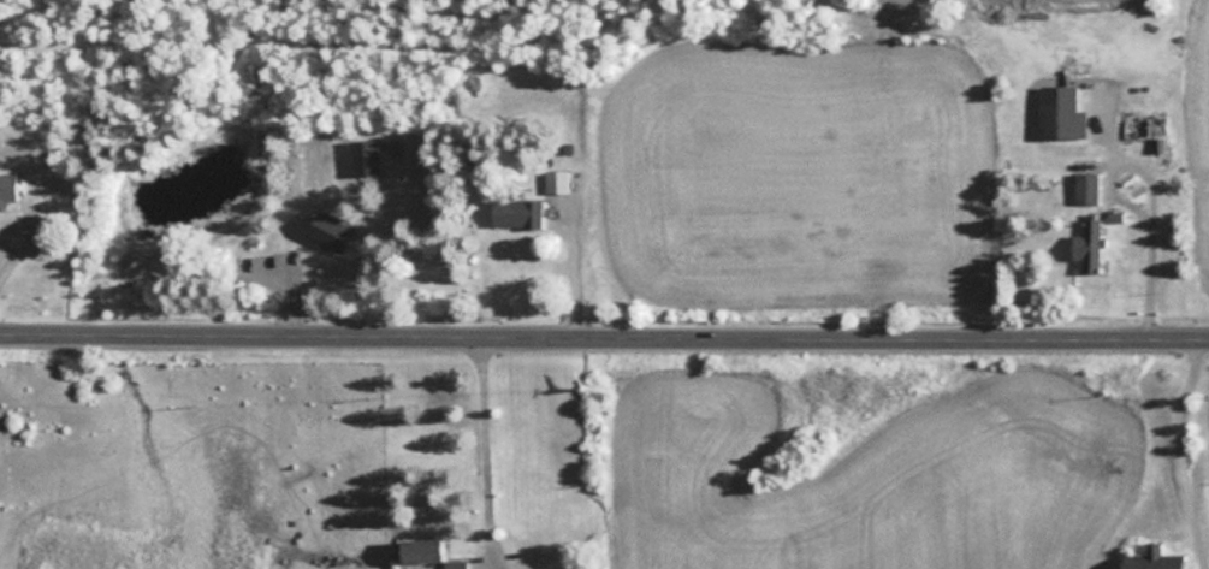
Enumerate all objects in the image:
building: (365, 158)
building: (1086, 188)
building: (7, 189)
building: (569, 206)
building: (517, 212)
building: (331, 231)
building: (1089, 244)
road: (604, 330)
road: (480, 450)
building: (420, 551)
building: (1152, 558)
building: (455, 564)

